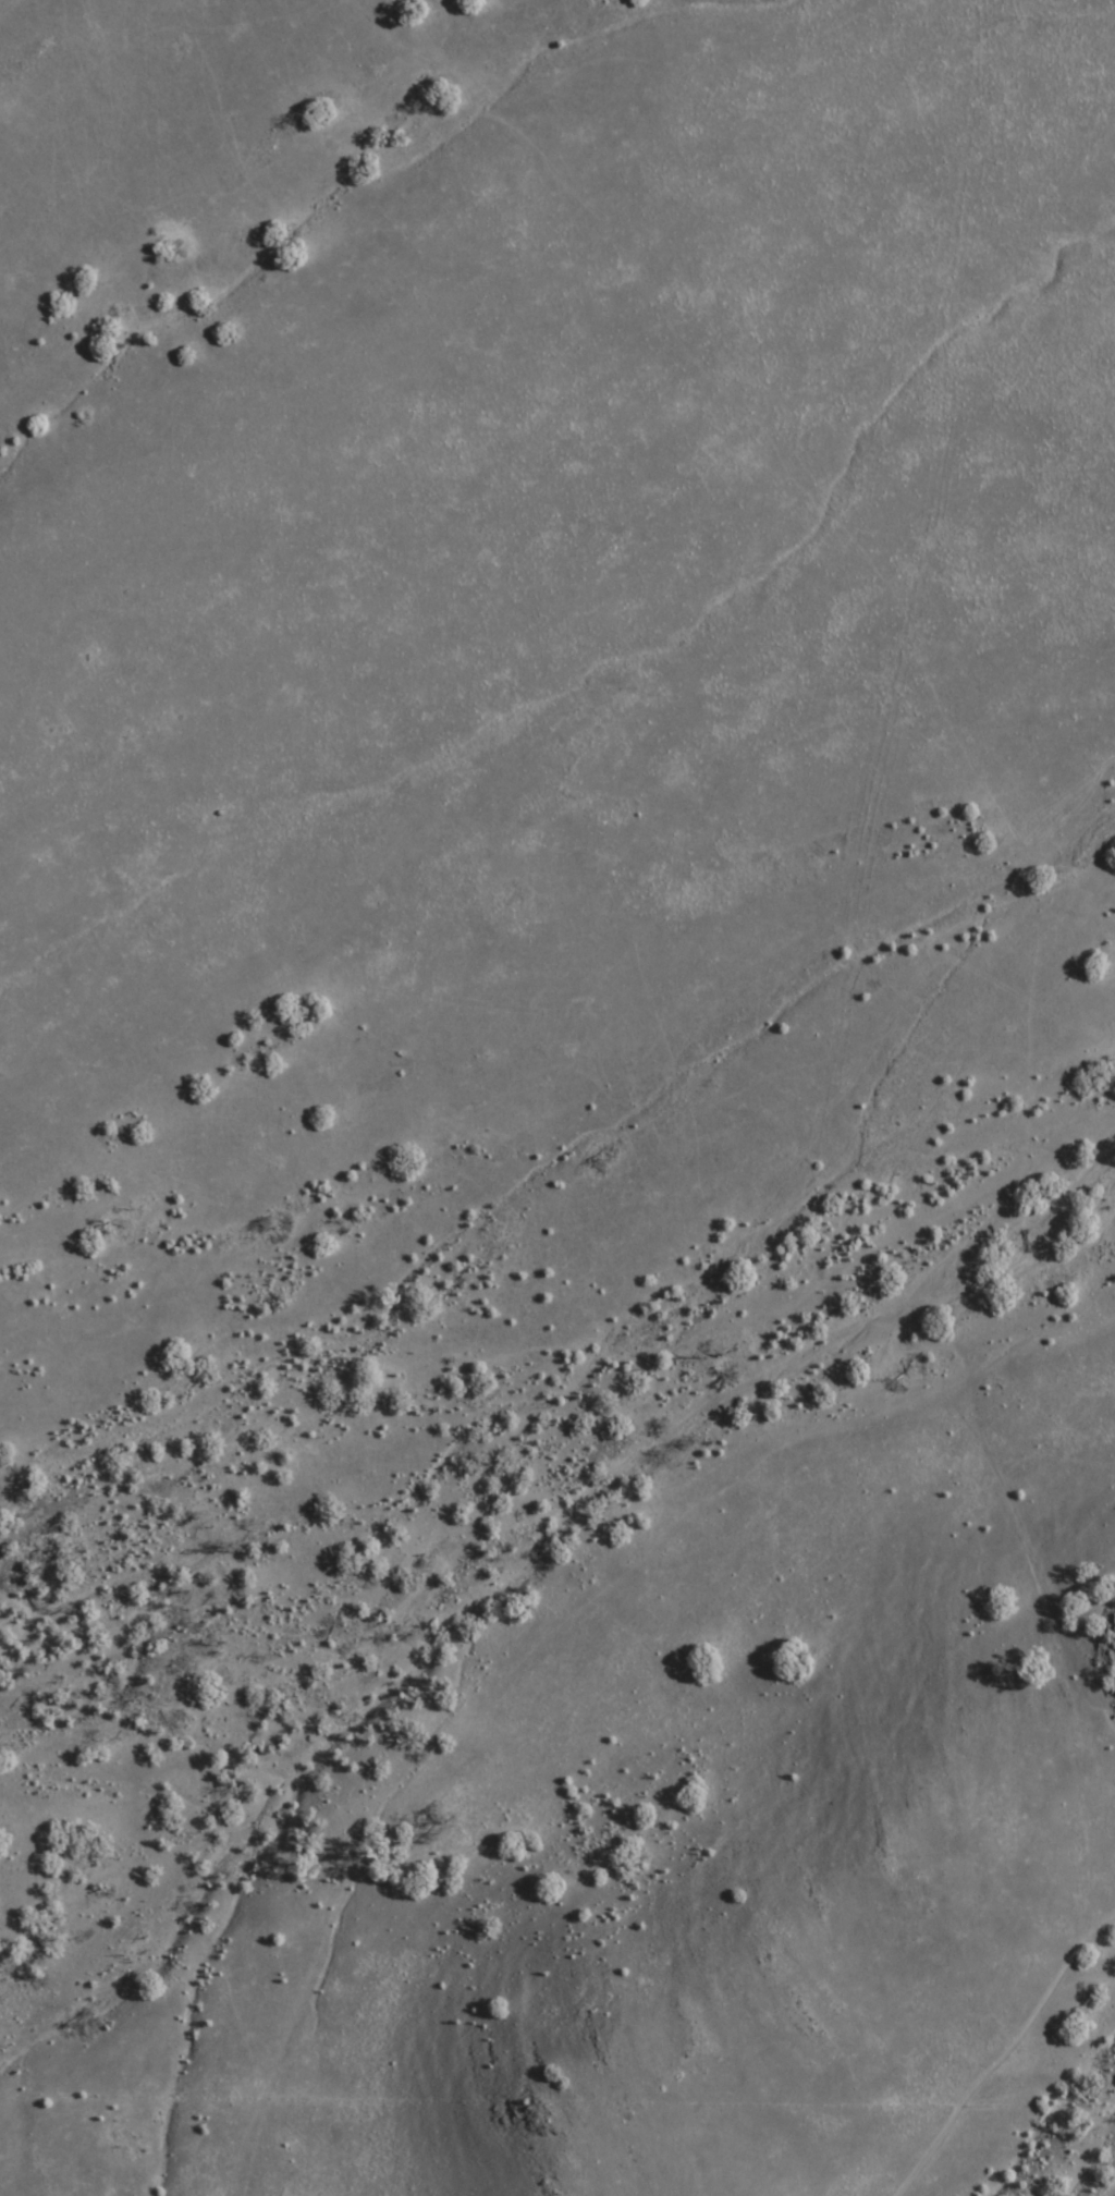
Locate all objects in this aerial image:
road: (12, 12)

